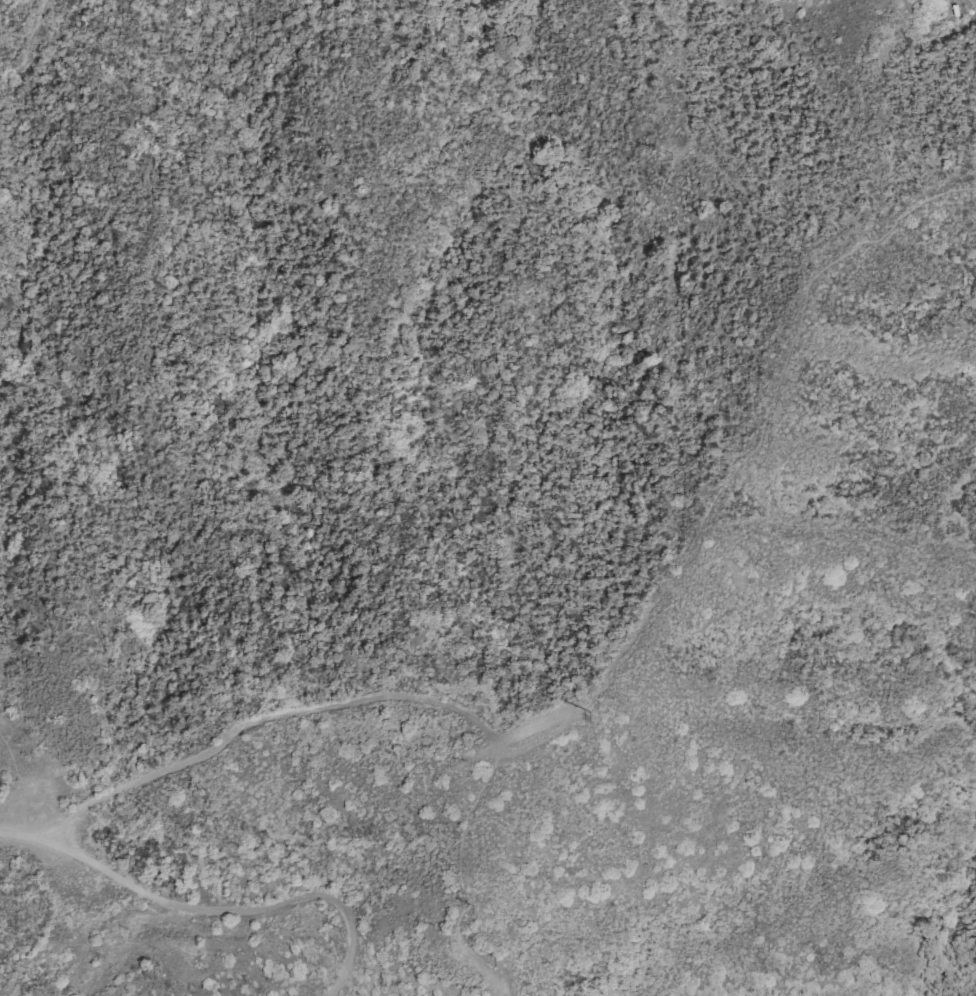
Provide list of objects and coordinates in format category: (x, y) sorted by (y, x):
road: (760, 427)
road: (348, 703)
road: (458, 849)
road: (210, 912)
road: (481, 970)

